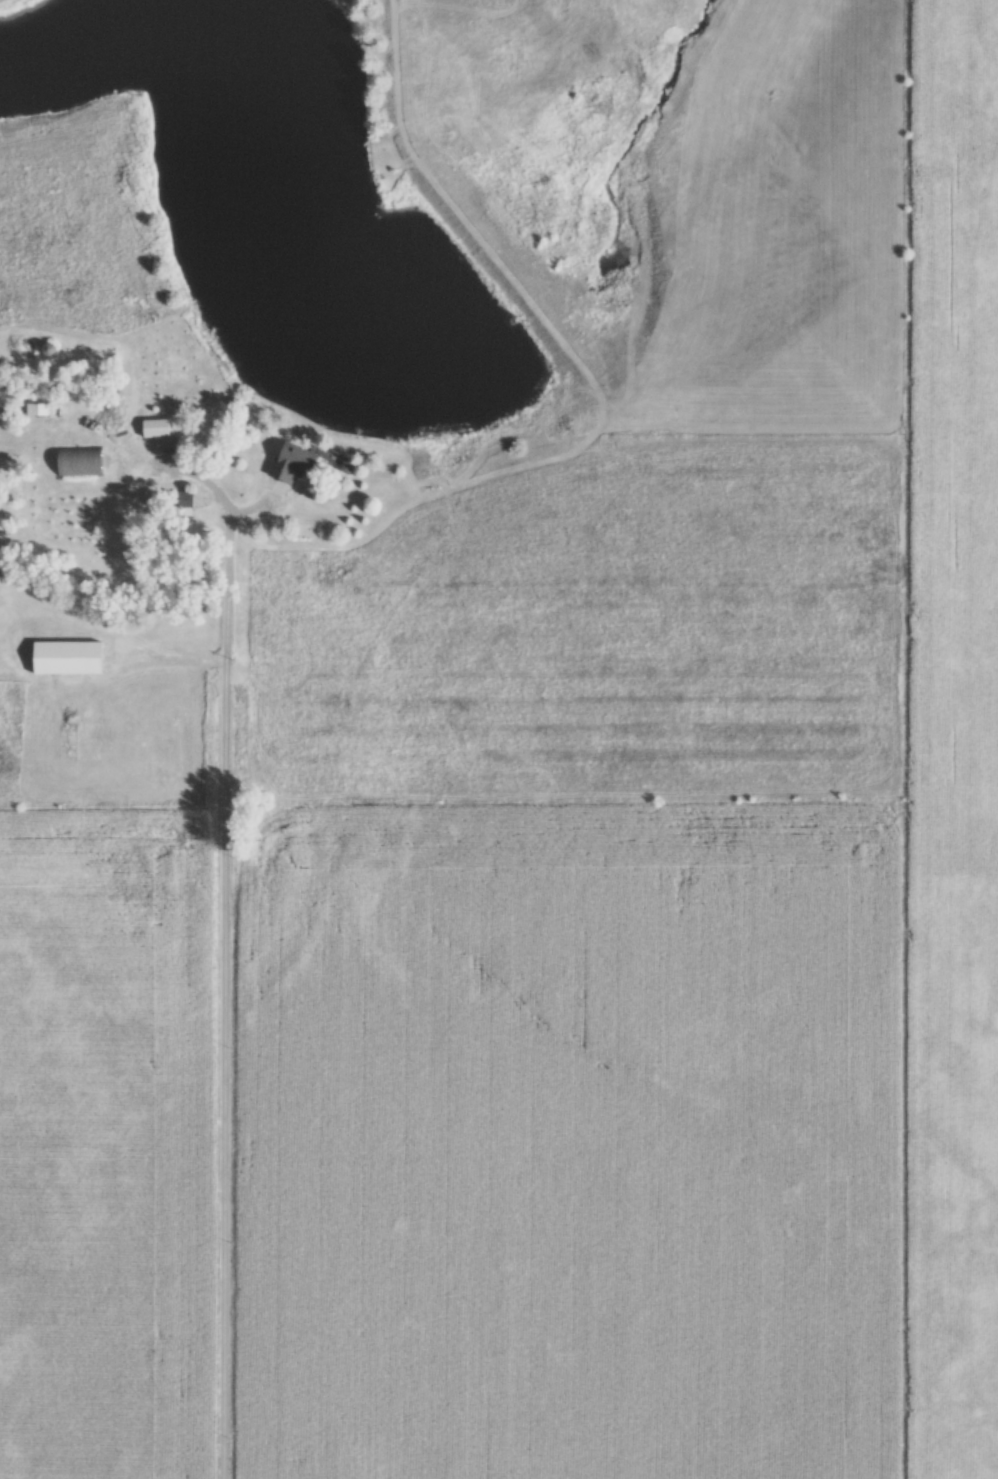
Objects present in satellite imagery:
building: (160, 429)
building: (82, 462)
building: (297, 462)
building: (72, 659)
crop: (960, 736)
road: (228, 963)
crop: (575, 1143)
crop: (105, 1145)

